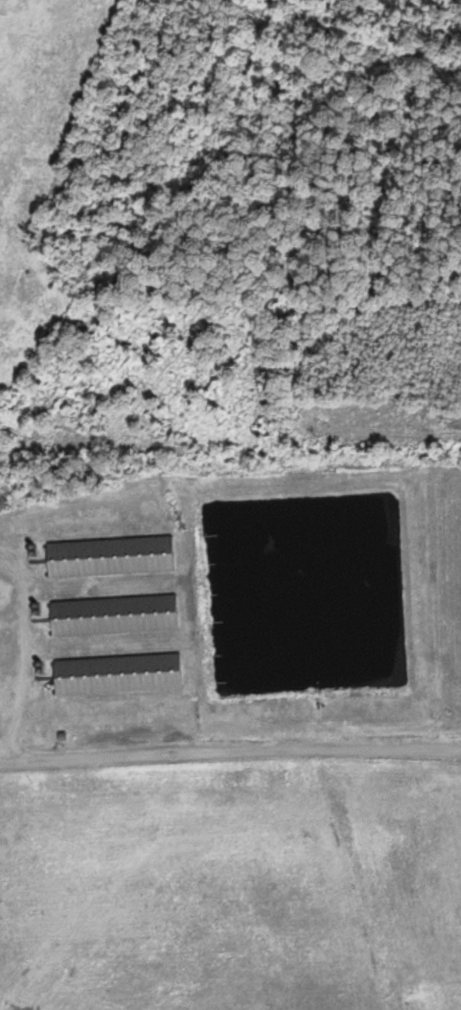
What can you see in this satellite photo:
building: (109, 558)
building: (112, 616)
building: (116, 675)
road: (223, 729)

